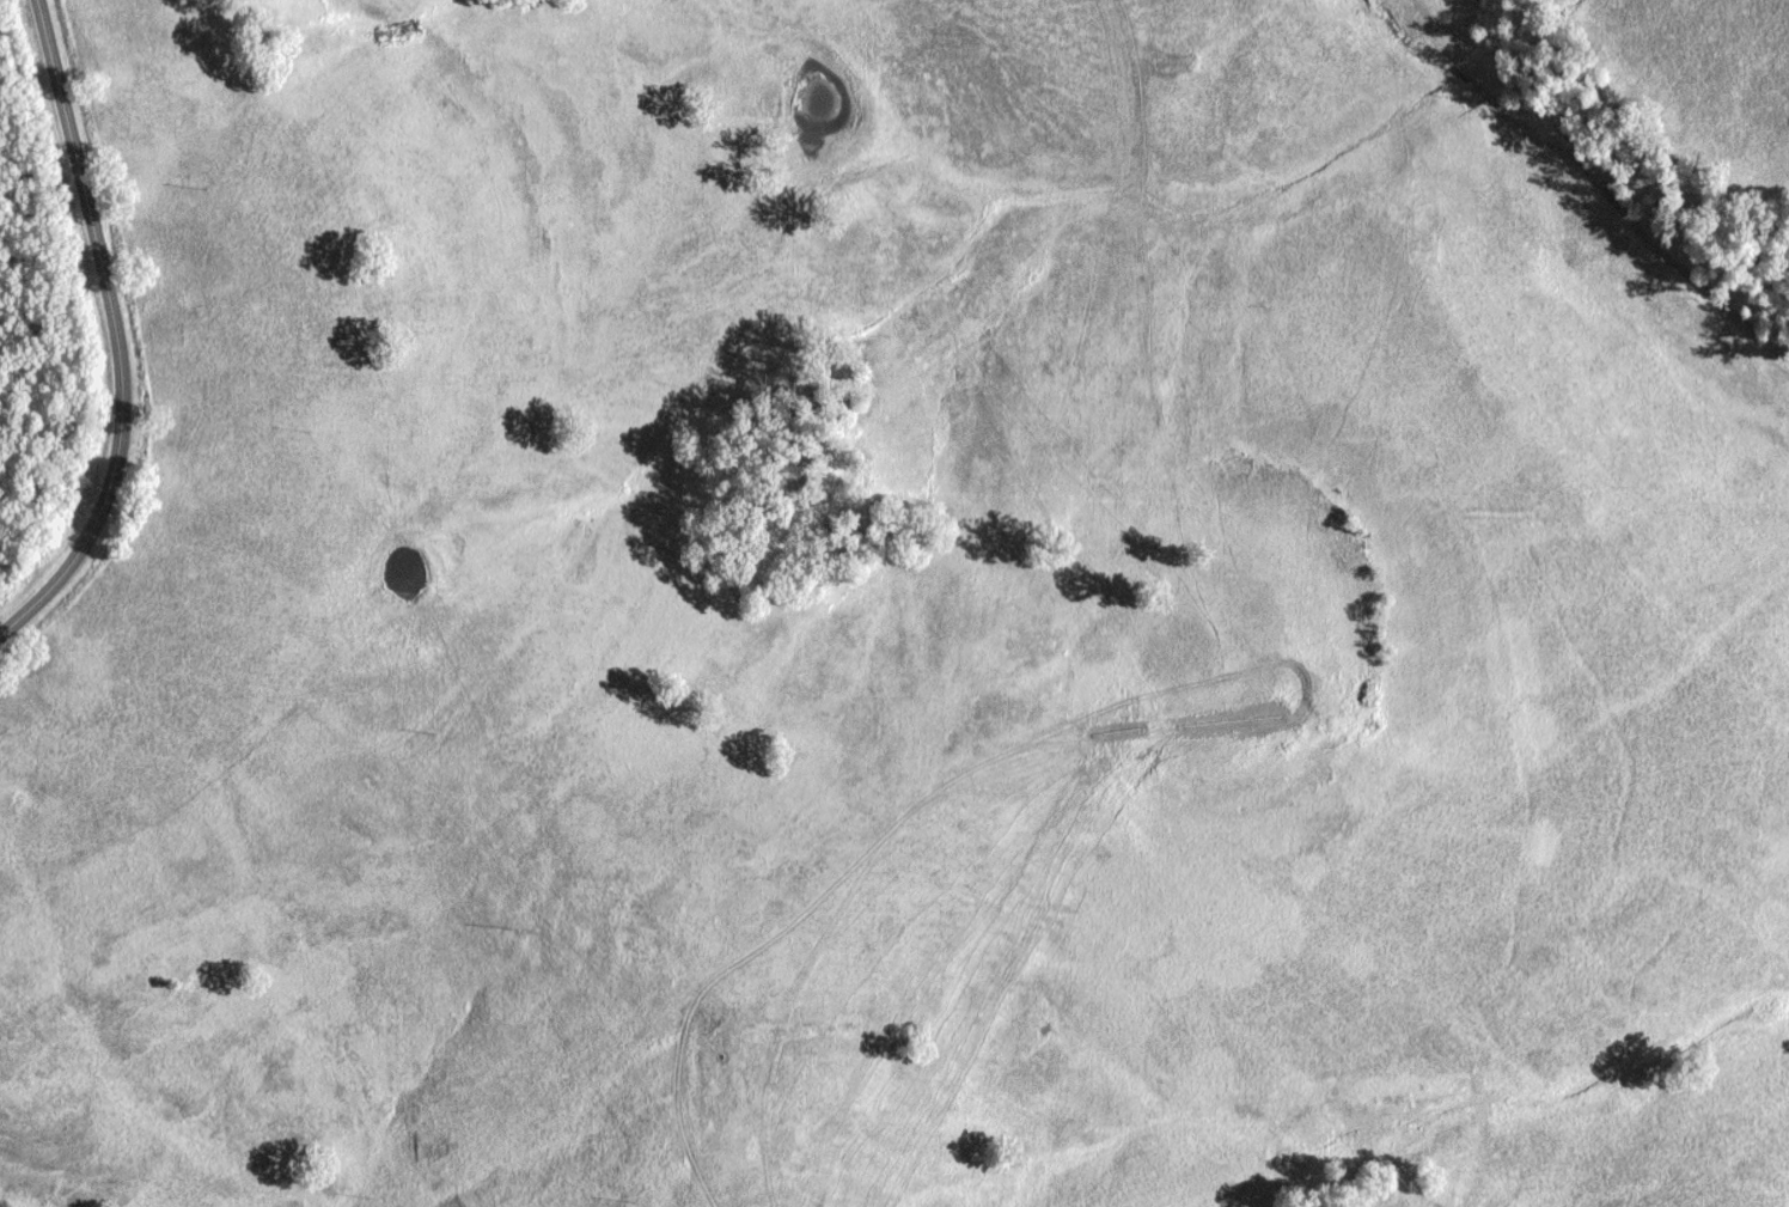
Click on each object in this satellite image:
road: (117, 335)

